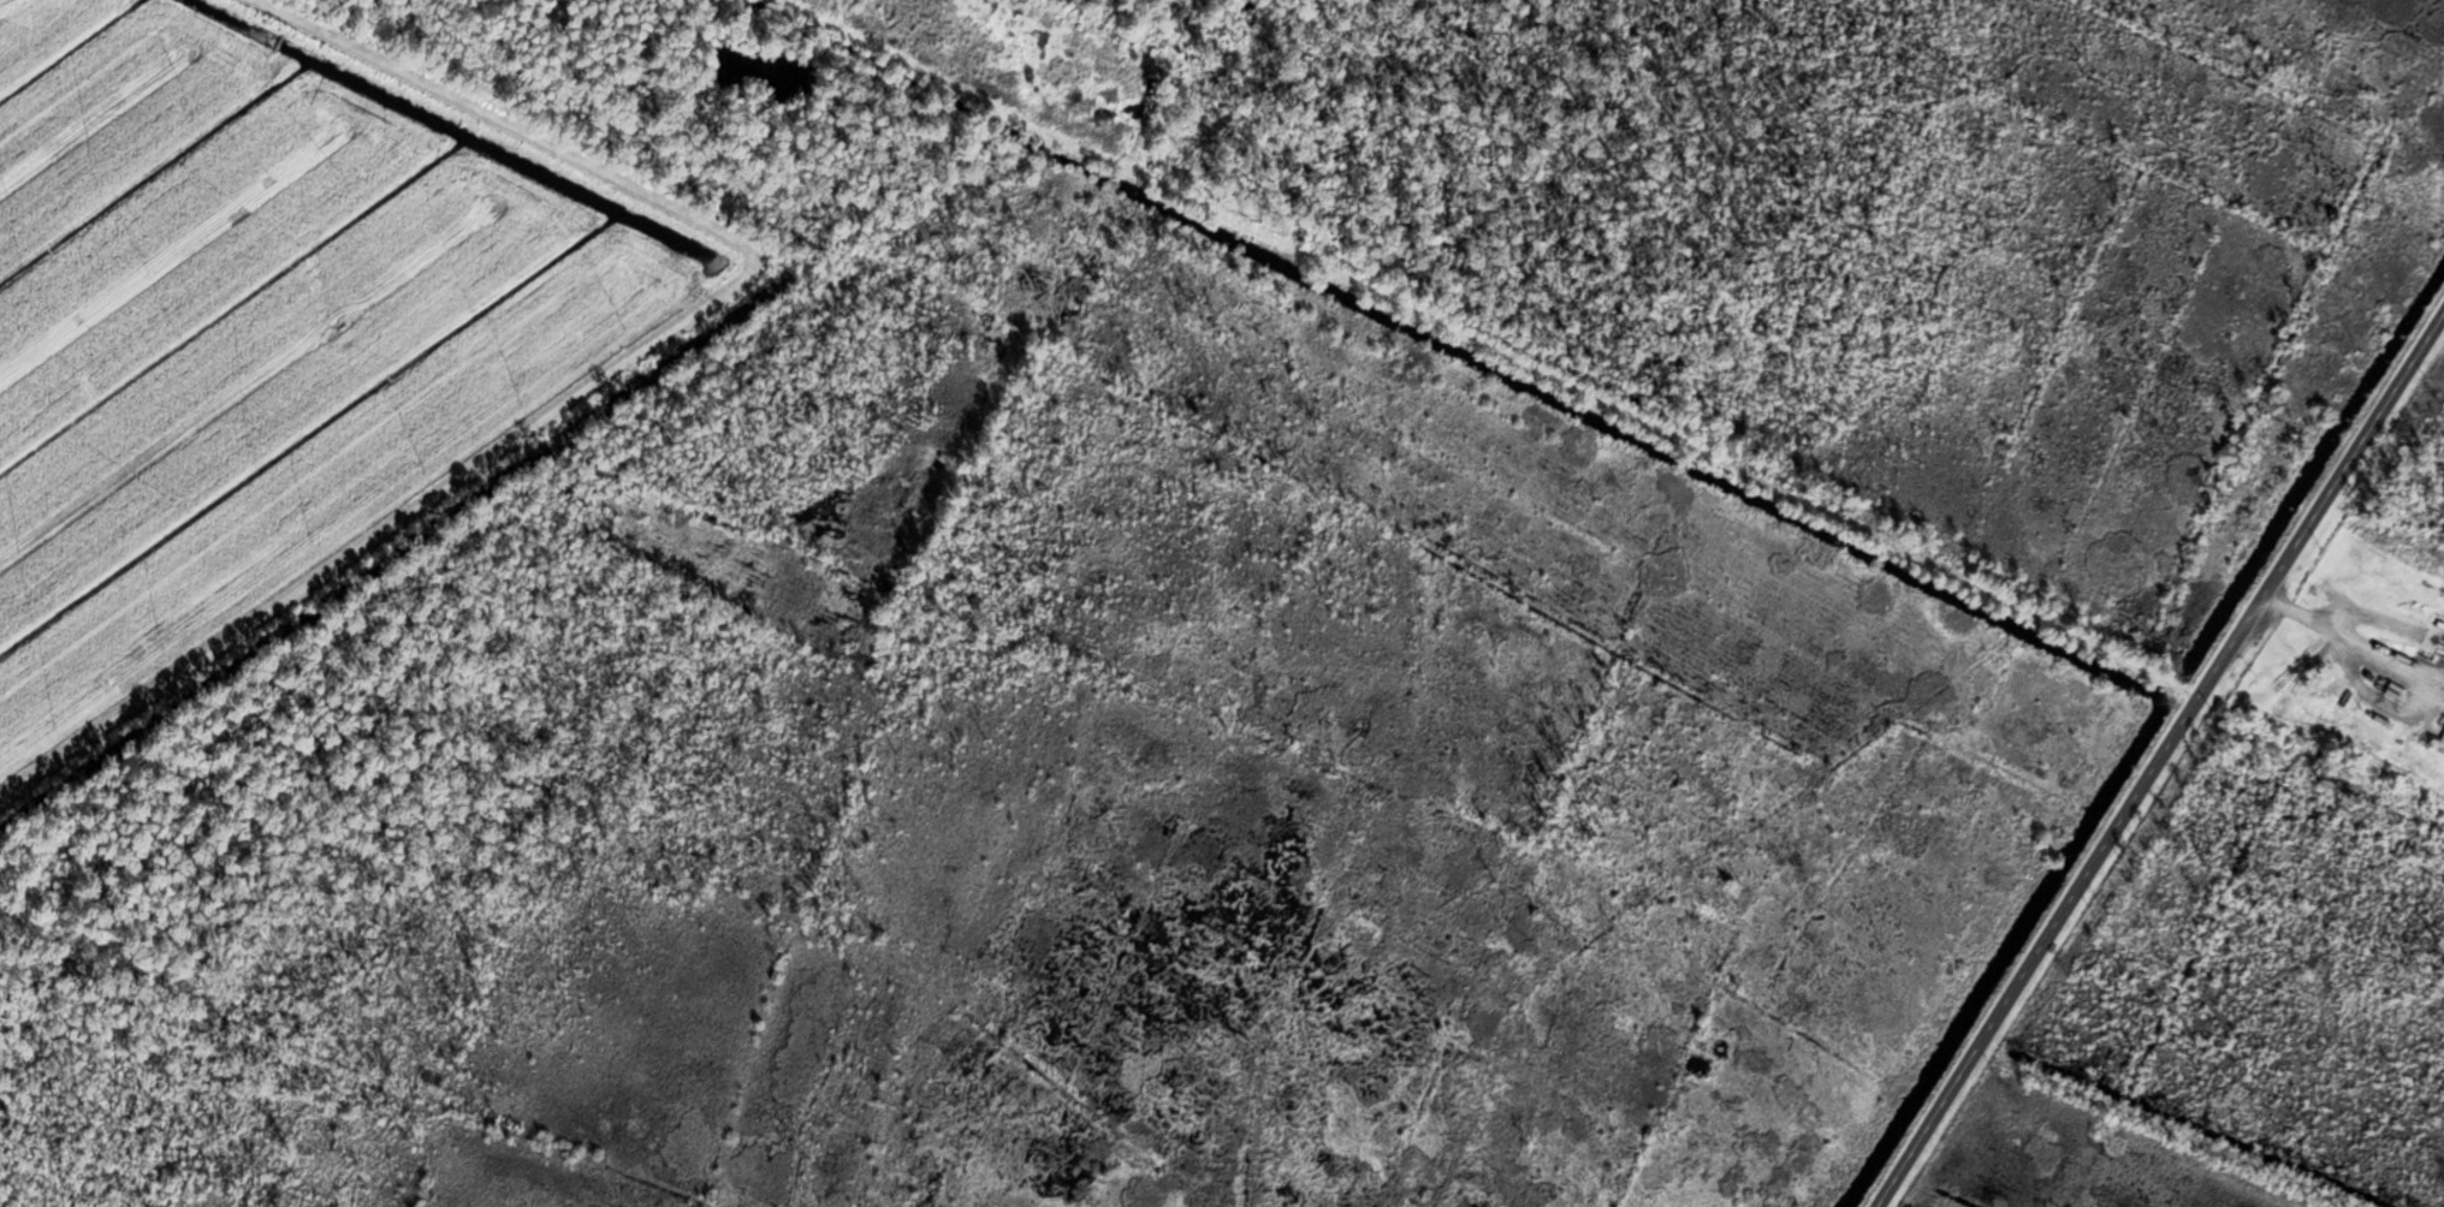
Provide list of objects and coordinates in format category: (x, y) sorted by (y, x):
road: (2157, 757)
road: (2159, 1130)

